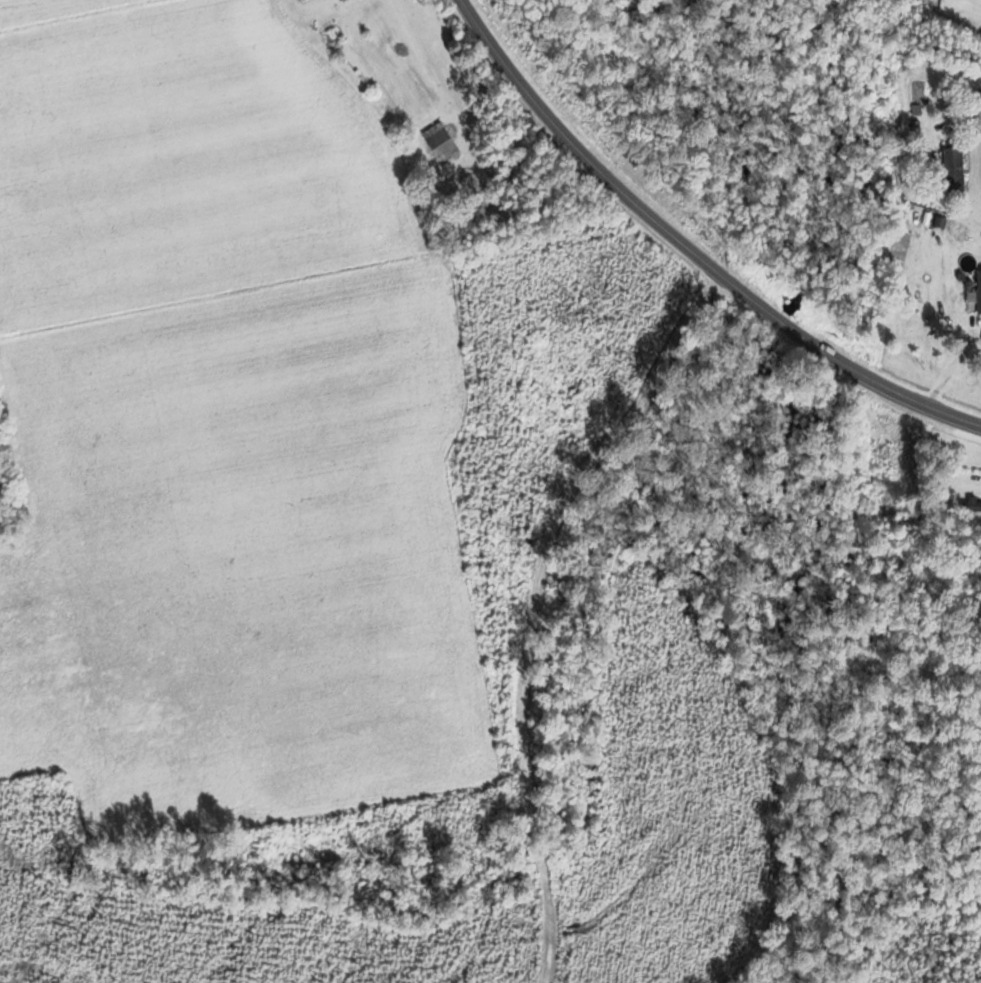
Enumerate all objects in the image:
building: (913, 103)
building: (437, 140)
building: (951, 169)
road: (690, 250)
building: (977, 292)
building: (876, 456)
building: (972, 505)
road: (545, 912)

